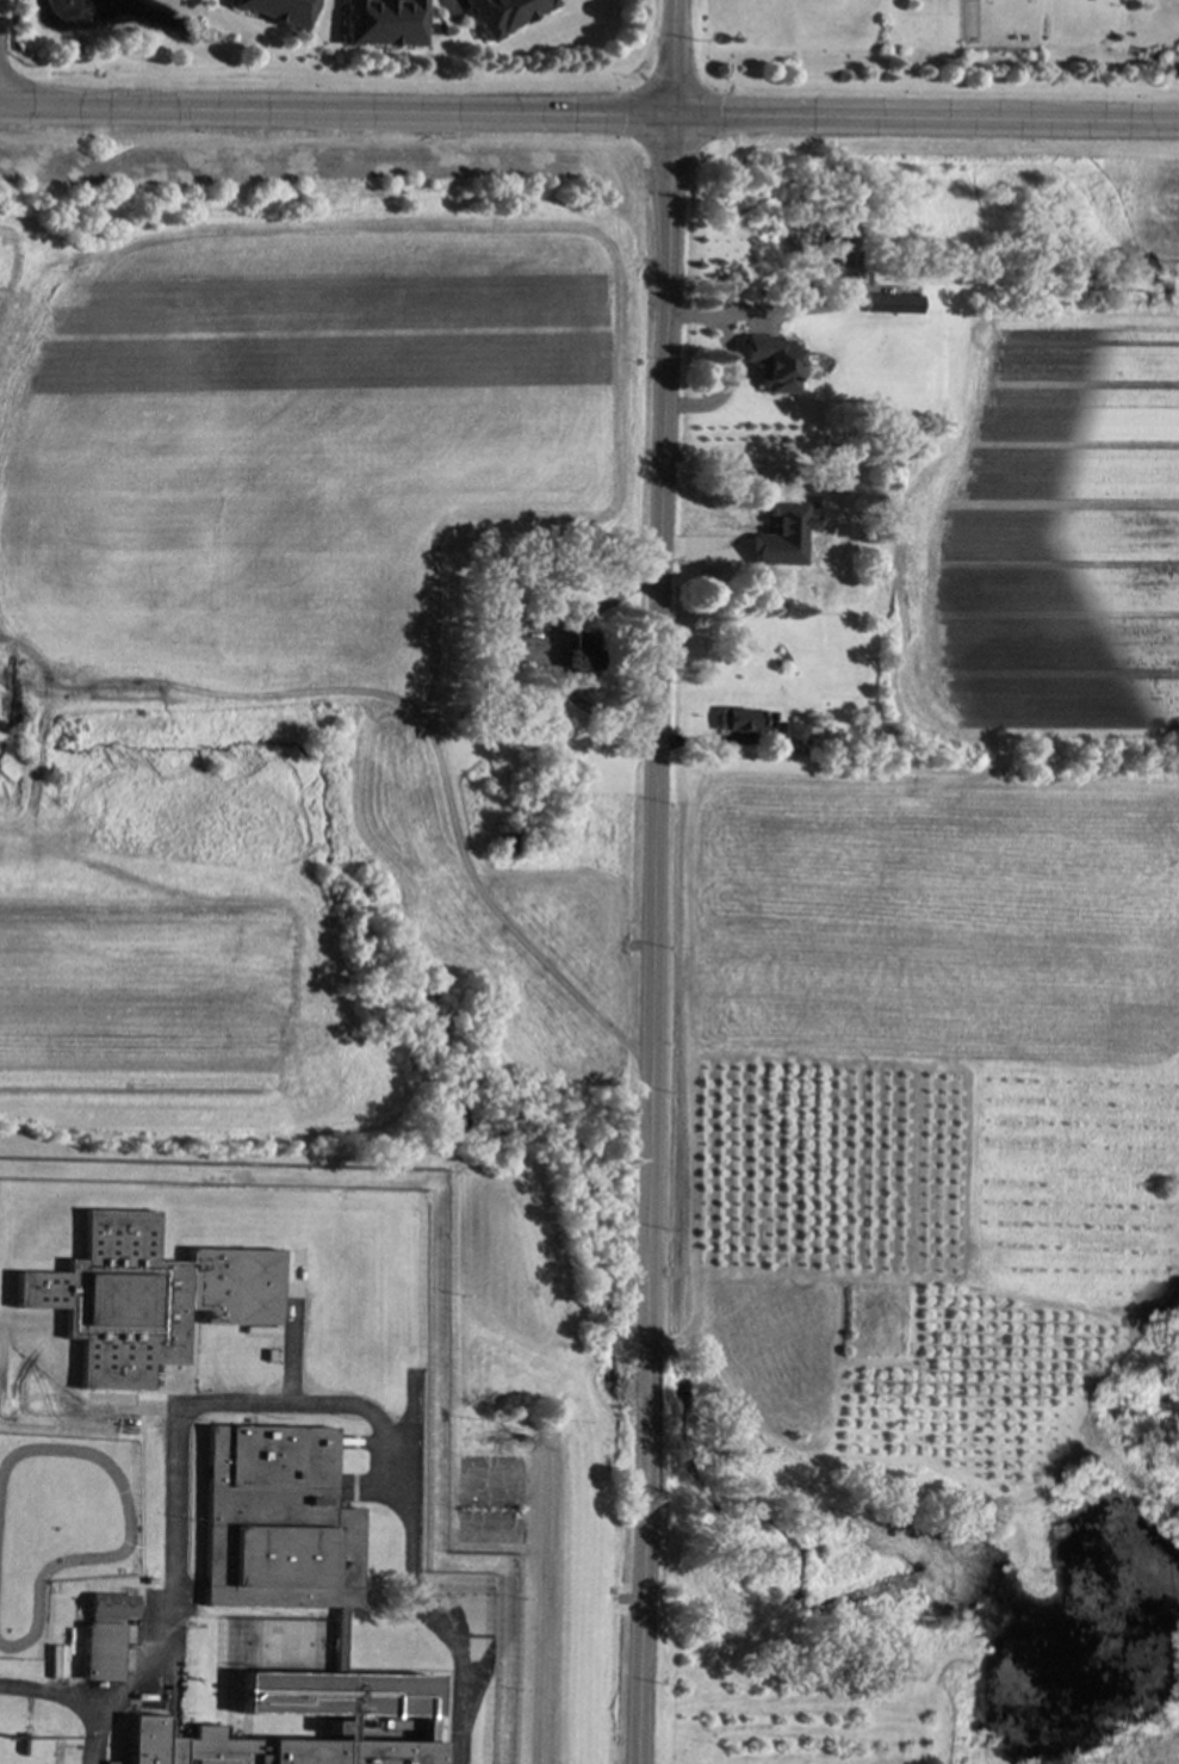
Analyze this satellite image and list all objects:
building: (278, 11)
building: (501, 14)
building: (379, 21)
road: (589, 114)
building: (837, 249)
building: (805, 286)
building: (895, 302)
road: (720, 364)
building: (783, 378)
crop: (285, 439)
building: (774, 483)
building: (837, 533)
crop: (1057, 538)
building: (781, 555)
building: (508, 569)
building: (529, 620)
building: (582, 652)
building: (736, 718)
building: (795, 732)
building: (509, 843)
road: (652, 881)
crop: (939, 923)
crop: (144, 1004)
building: (145, 1296)
building: (286, 1603)
building: (105, 1633)
road: (74, 1695)
building: (29, 1744)

